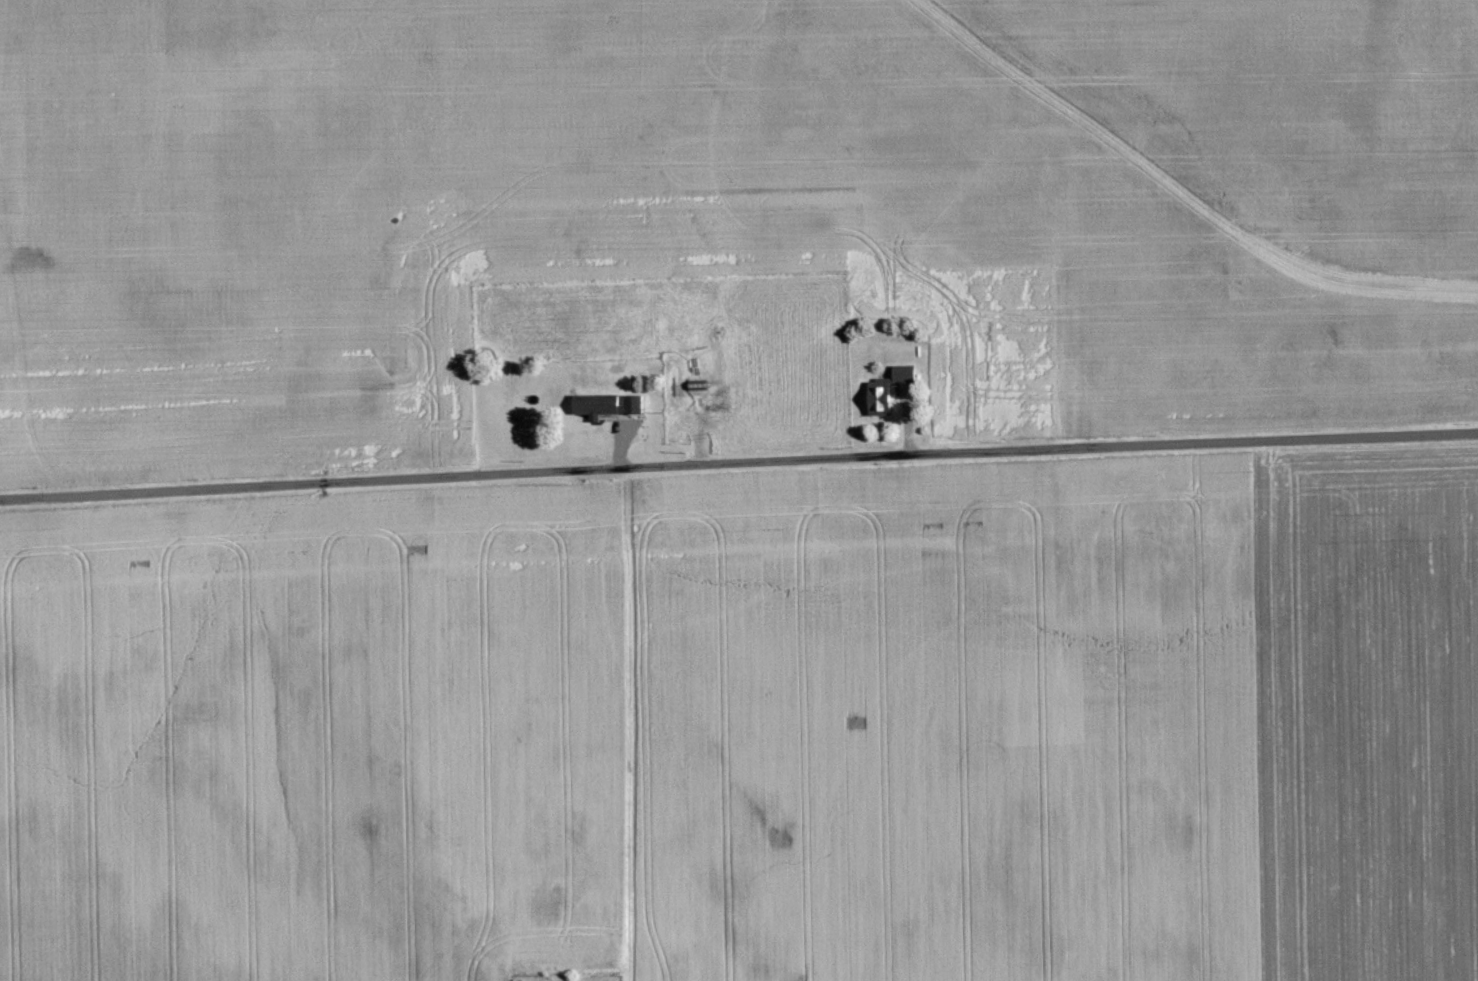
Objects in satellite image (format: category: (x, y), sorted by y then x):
road: (738, 463)

